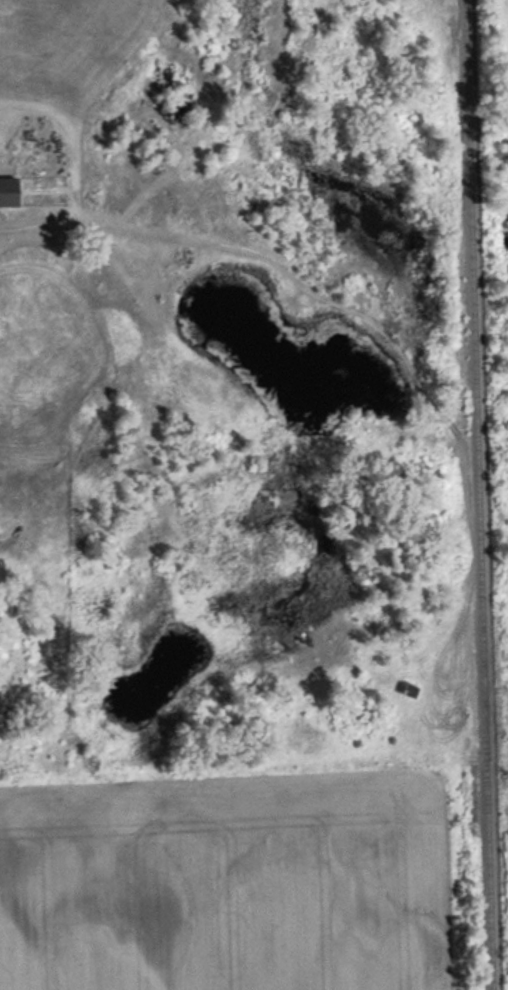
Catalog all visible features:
building: (8, 190)
road: (156, 286)
railway: (479, 495)
building: (410, 689)

